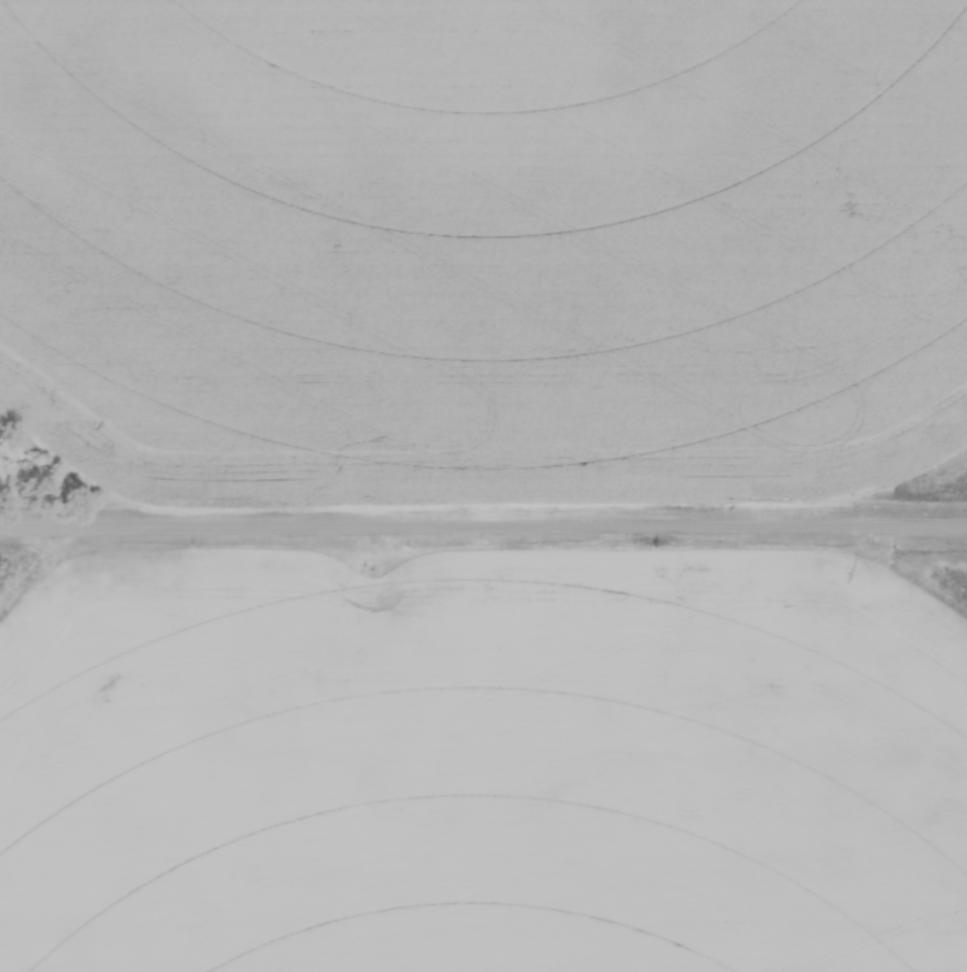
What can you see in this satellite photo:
road: (483, 531)

